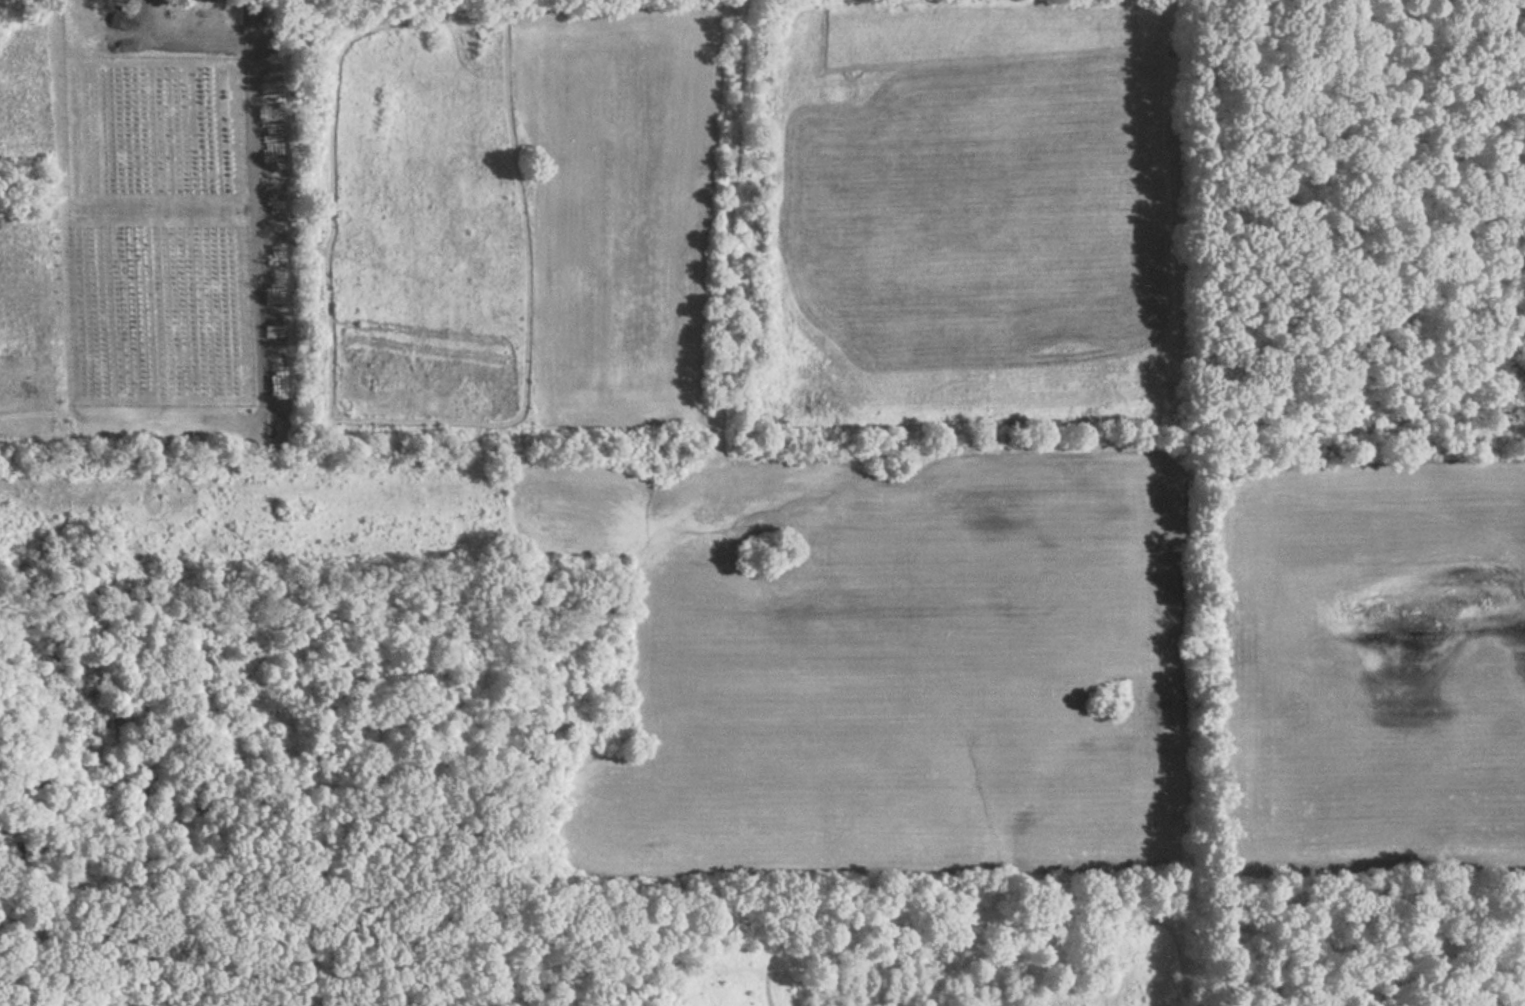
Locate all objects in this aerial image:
road: (232, 51)
crop: (21, 95)
crop: (976, 202)
crop: (514, 219)
crop: (69, 326)
crop: (1373, 660)
crop: (888, 665)

